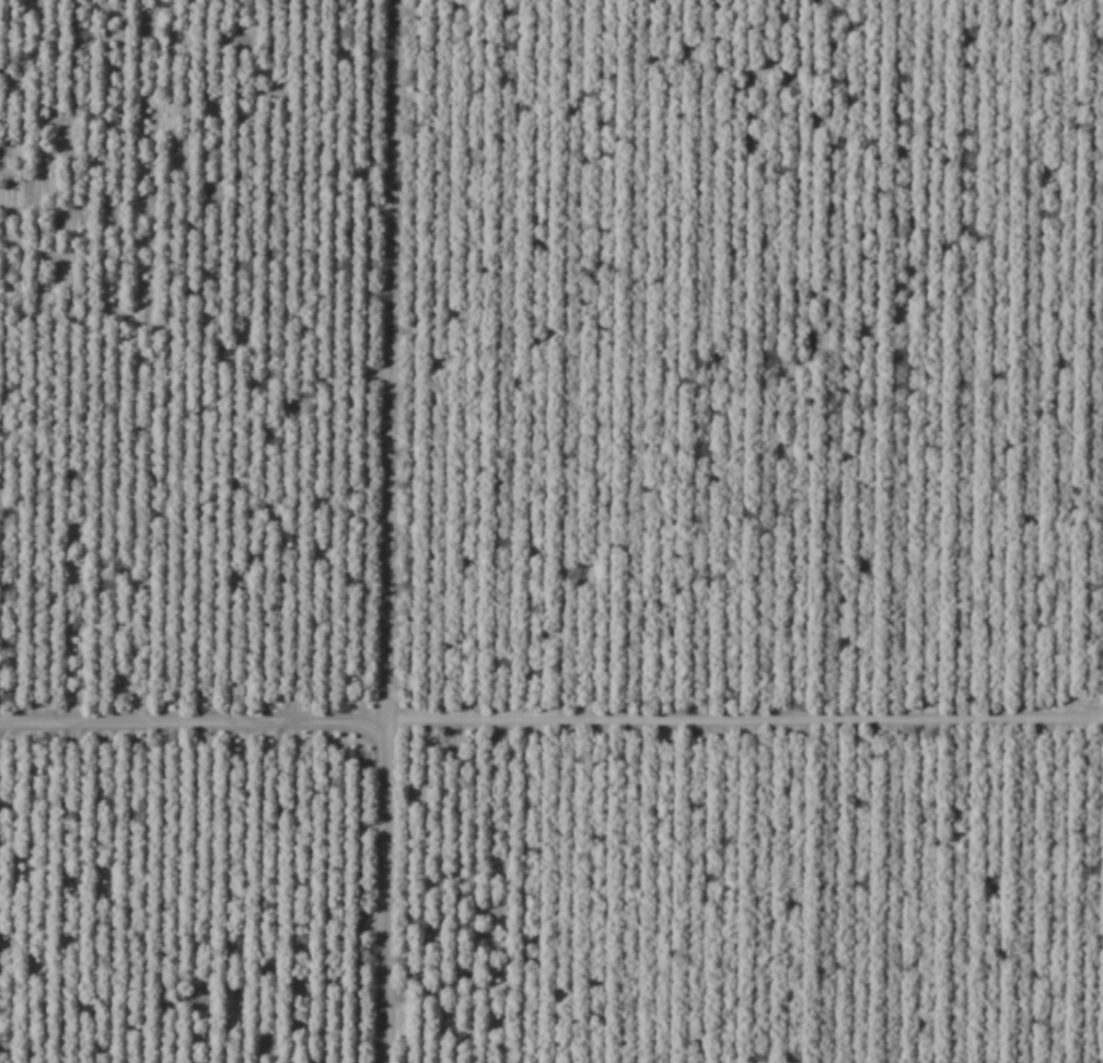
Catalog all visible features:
crop: (551, 531)

